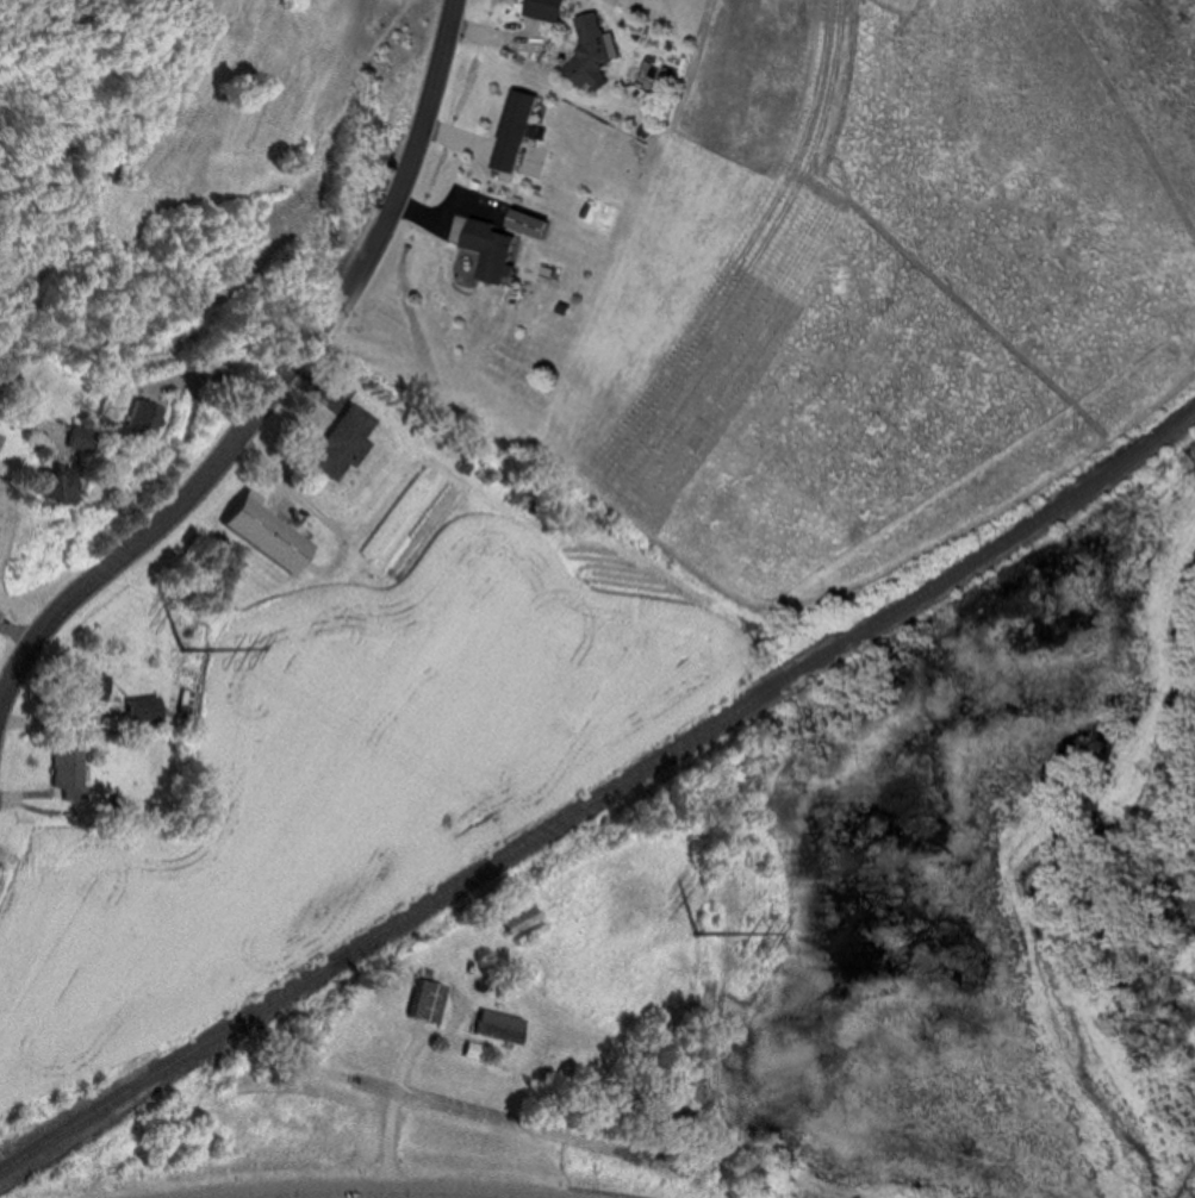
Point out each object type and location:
building: (546, 8)
building: (595, 51)
building: (521, 130)
building: (541, 224)
road: (61, 247)
building: (494, 247)
road: (279, 386)
building: (147, 418)
building: (85, 438)
building: (347, 443)
building: (62, 489)
building: (527, 499)
building: (270, 532)
power tower: (187, 639)
building: (93, 684)
building: (148, 709)
building: (73, 772)
railway: (600, 794)
river: (1051, 891)
building: (525, 921)
power tower: (699, 926)
building: (431, 998)
building: (502, 1024)
road: (397, 1107)
road: (368, 1197)

